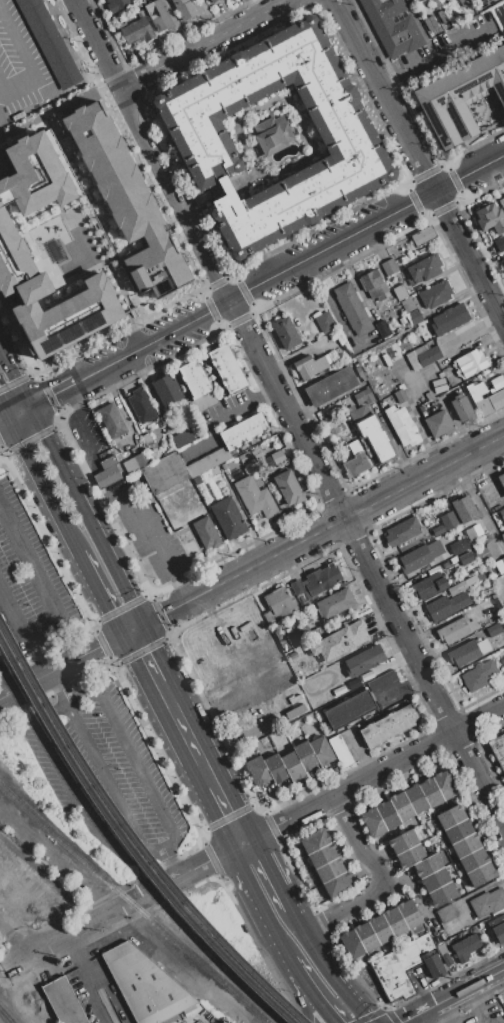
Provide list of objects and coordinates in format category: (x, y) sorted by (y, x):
building: (210, 0)
building: (214, 1)
building: (462, 2)
parking lot: (476, 2)
building: (435, 4)
building: (116, 5)
building: (185, 9)
building: (140, 13)
building: (159, 15)
building: (131, 18)
building: (120, 24)
building: (392, 26)
building: (137, 31)
building: (50, 41)
road: (94, 42)
road: (200, 43)
parking lot: (450, 47)
road: (27, 54)
road: (442, 54)
parking lot: (21, 67)
road: (4, 78)
building: (459, 95)
road: (58, 116)
building: (200, 137)
building: (305, 140)
road: (419, 162)
road: (491, 163)
road: (457, 181)
road: (173, 193)
building: (132, 202)
building: (501, 202)
road: (405, 208)
building: (491, 217)
building: (423, 235)
building: (499, 244)
building: (13, 245)
road: (331, 246)
building: (503, 257)
building: (388, 265)
building: (423, 268)
building: (369, 278)
road: (259, 285)
building: (399, 291)
building: (435, 295)
building: (407, 305)
building: (351, 308)
building: (375, 315)
parking lot: (119, 316)
building: (414, 317)
building: (449, 319)
building: (402, 320)
building: (324, 321)
road: (180, 326)
building: (383, 329)
building: (286, 333)
road: (17, 338)
building: (429, 356)
building: (386, 359)
building: (412, 360)
building: (469, 363)
building: (310, 366)
building: (227, 368)
road: (98, 370)
building: (441, 374)
building: (194, 378)
road: (17, 379)
road: (14, 381)
building: (497, 381)
building: (439, 385)
building: (331, 386)
building: (167, 389)
building: (429, 394)
traffic signals: (51, 395)
building: (399, 395)
road: (46, 396)
road: (69, 396)
building: (364, 396)
road: (46, 397)
building: (484, 399)
building: (204, 402)
building: (141, 405)
road: (238, 407)
building: (463, 407)
road: (3, 414)
road: (17, 414)
building: (359, 414)
building: (111, 420)
road: (3, 423)
building: (439, 423)
building: (402, 425)
building: (244, 431)
traffic signals: (44, 435)
road: (82, 435)
road: (31, 437)
parking lot: (88, 437)
building: (375, 437)
building: (183, 438)
building: (147, 439)
road: (47, 441)
building: (254, 450)
road: (1, 451)
road: (1, 452)
building: (277, 456)
building: (244, 457)
building: (355, 461)
building: (137, 462)
building: (208, 462)
building: (224, 466)
building: (107, 471)
road: (78, 472)
building: (164, 473)
building: (197, 480)
building: (501, 480)
road: (41, 486)
building: (289, 487)
road: (108, 496)
building: (255, 497)
road: (90, 505)
building: (465, 508)
building: (498, 514)
building: (228, 518)
road: (4, 522)
building: (445, 523)
building: (503, 526)
building: (402, 530)
building: (473, 532)
building: (206, 533)
road: (319, 533)
road: (147, 536)
building: (461, 545)
building: (191, 548)
road: (103, 550)
building: (415, 559)
building: (466, 559)
road: (366, 562)
building: (499, 566)
building: (480, 576)
building: (471, 580)
building: (316, 581)
building: (429, 586)
parking lot: (28, 588)
building: (457, 588)
road: (182, 590)
road: (98, 594)
building: (279, 602)
building: (334, 603)
road: (52, 605)
building: (440, 608)
building: (268, 616)
building: (304, 617)
building: (485, 623)
traffic signals: (133, 628)
building: (456, 629)
building: (494, 630)
building: (317, 631)
building: (299, 636)
building: (340, 640)
building: (285, 646)
road: (90, 649)
building: (468, 652)
road: (146, 654)
building: (293, 655)
road: (12, 660)
building: (364, 661)
building: (502, 662)
parking lot: (1, 664)
building: (478, 675)
building: (366, 676)
building: (381, 680)
road: (4, 683)
road: (23, 683)
building: (354, 684)
road: (57, 687)
road: (166, 691)
building: (246, 691)
building: (349, 709)
building: (389, 725)
road: (185, 731)
road: (128, 748)
building: (498, 748)
building: (321, 750)
building: (340, 750)
building: (305, 755)
road: (397, 761)
building: (292, 765)
building: (275, 768)
building: (257, 771)
road: (207, 772)
parking lot: (103, 773)
road: (104, 778)
building: (446, 784)
road: (69, 791)
building: (431, 792)
building: (416, 799)
building: (402, 807)
road: (228, 814)
building: (387, 814)
building: (451, 817)
building: (373, 822)
building: (434, 826)
road: (267, 830)
building: (458, 831)
railway: (133, 837)
road: (361, 840)
building: (314, 841)
building: (403, 842)
railway: (129, 844)
building: (466, 845)
road: (161, 846)
building: (322, 856)
building: (410, 856)
road: (211, 860)
building: (474, 860)
building: (427, 865)
road: (163, 866)
road: (256, 866)
building: (330, 870)
building: (481, 874)
building: (435, 879)
building: (337, 884)
building: (317, 893)
building: (442, 894)
road: (274, 900)
building: (487, 902)
railway: (134, 904)
road: (339, 911)
building: (446, 913)
building: (409, 914)
building: (394, 921)
road: (91, 924)
road: (287, 924)
building: (380, 928)
building: (499, 932)
building: (366, 936)
building: (352, 944)
road: (26, 945)
road: (290, 946)
building: (465, 947)
road: (315, 955)
building: (432, 964)
building: (400, 967)
road: (299, 975)
road: (83, 980)
building: (145, 985)
road: (425, 987)
road: (451, 996)
building: (63, 1001)
road: (350, 1002)
road: (478, 1004)
building: (502, 1005)
road: (310, 1008)
road: (322, 1008)
railway: (6, 1016)
road: (418, 1017)
building: (170, 1019)

